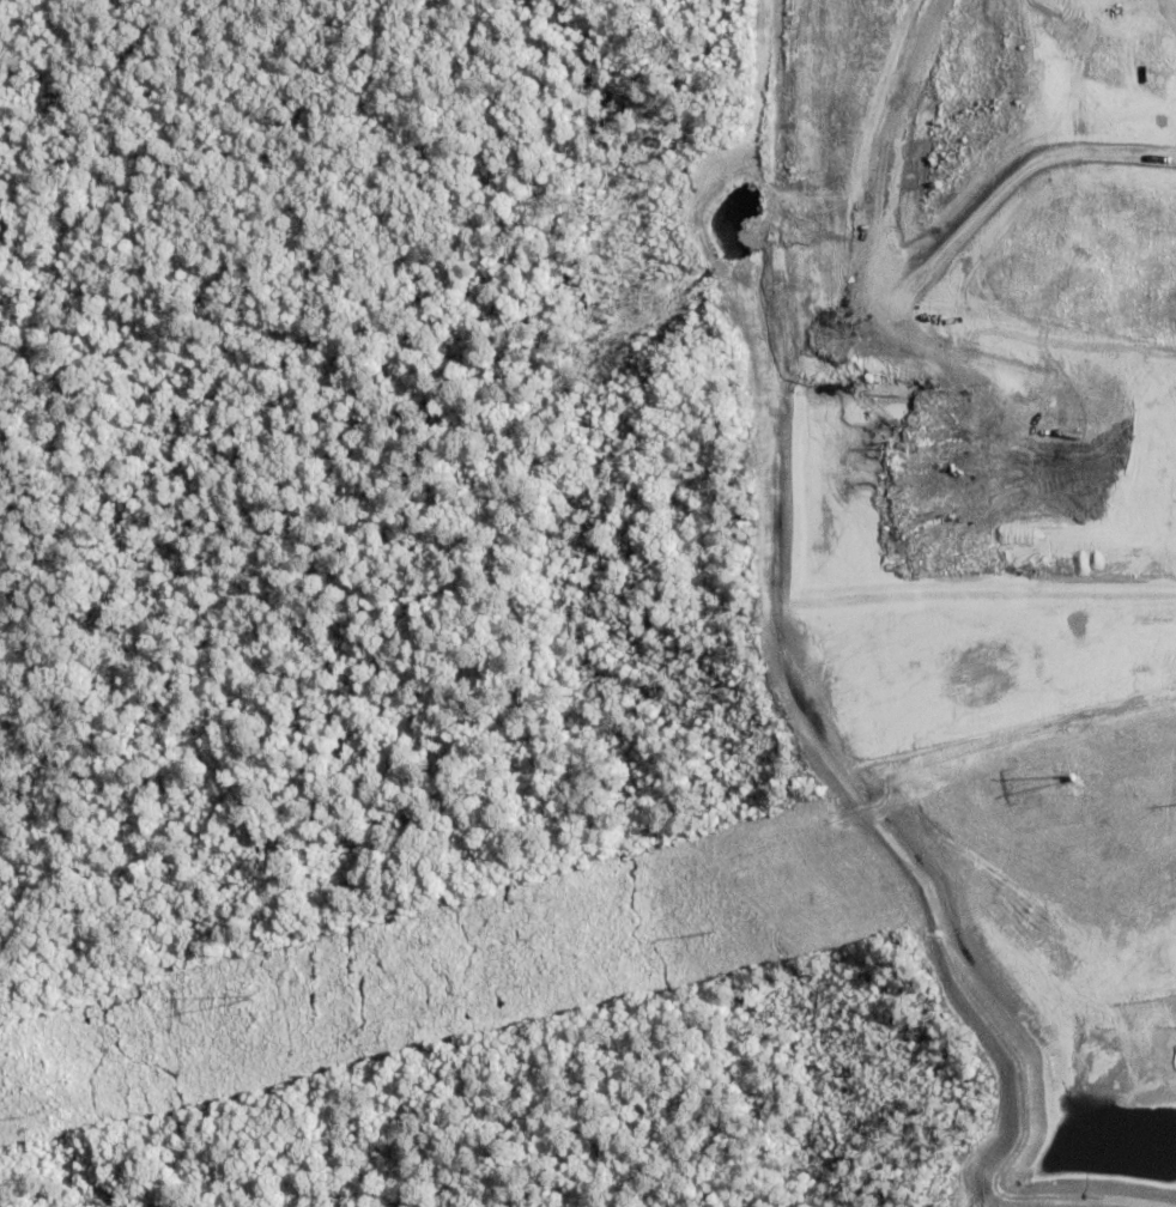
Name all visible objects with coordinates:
power tower: (1074, 780)
power tower: (251, 1000)

